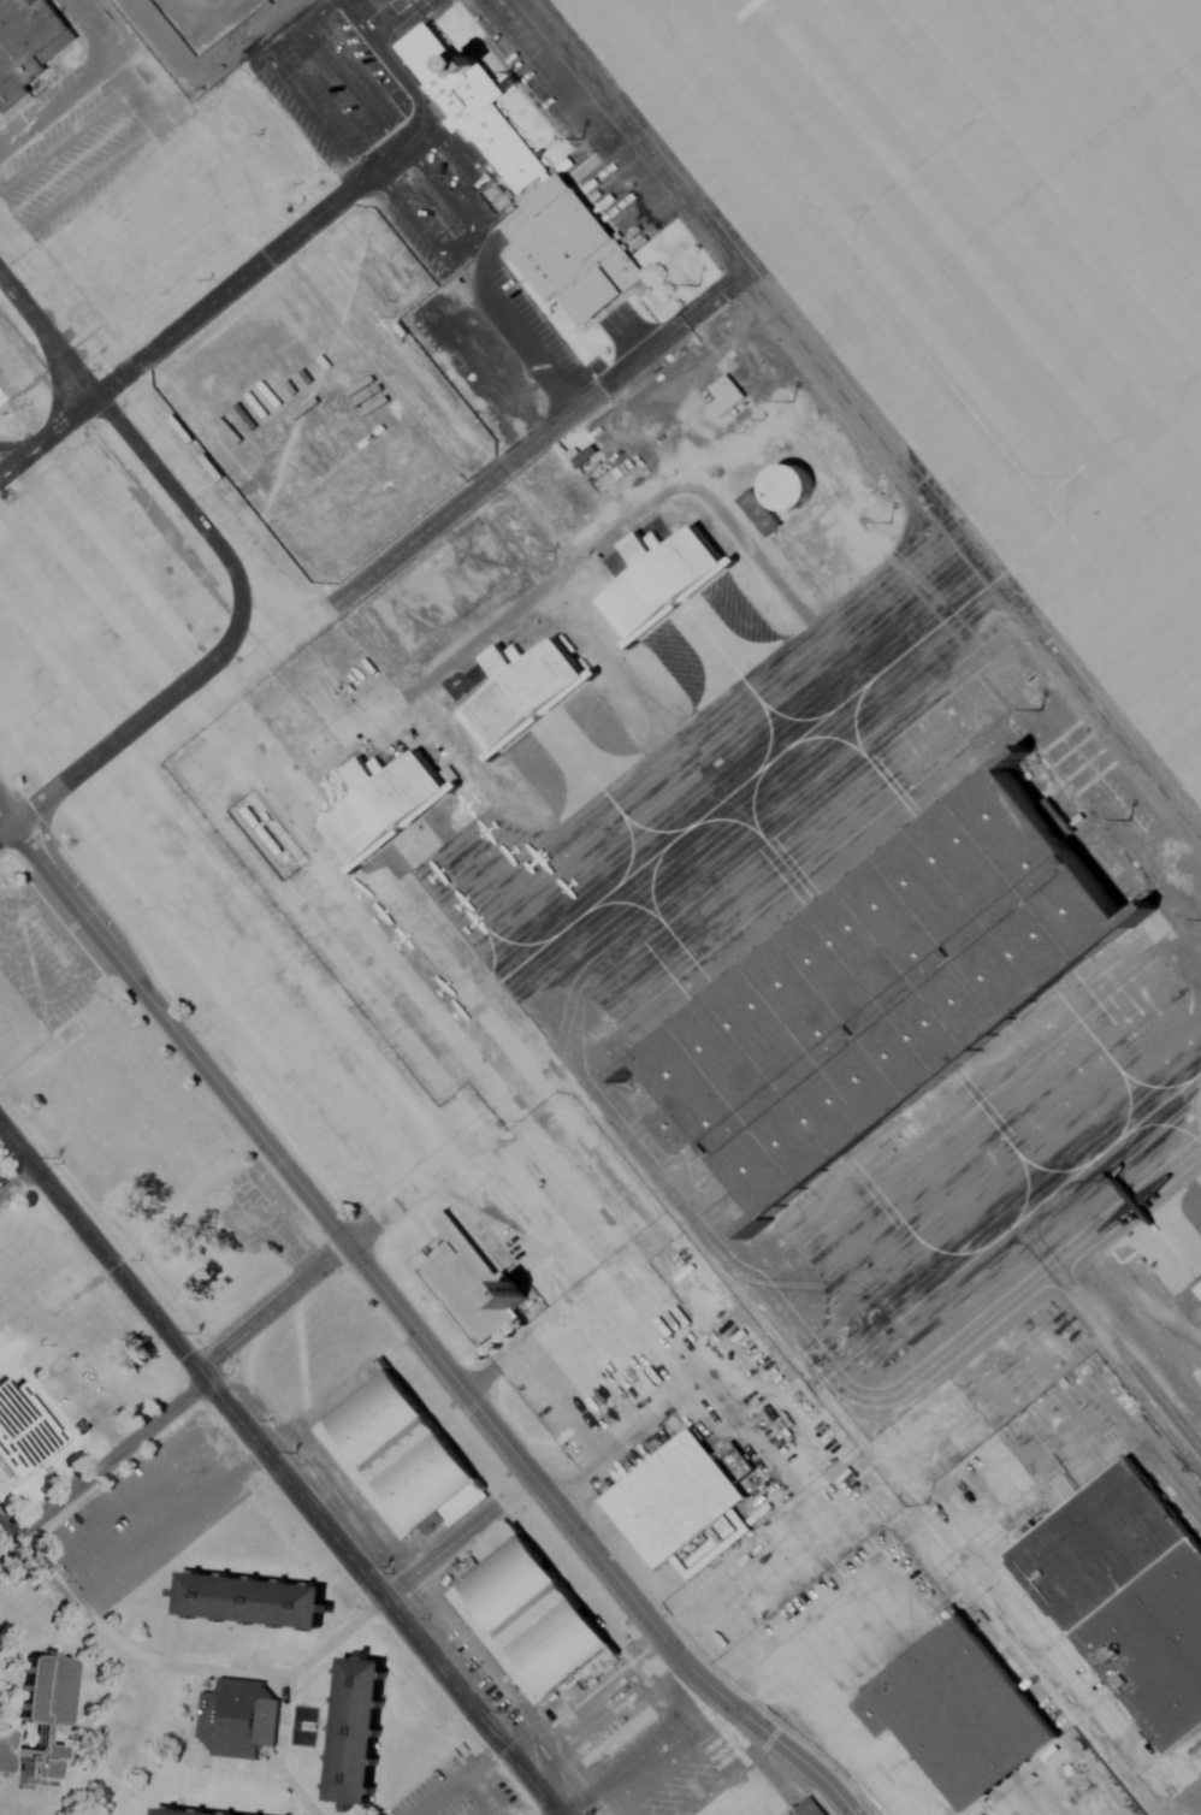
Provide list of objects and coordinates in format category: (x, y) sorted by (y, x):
building: (26, 45)
road: (76, 72)
building: (473, 108)
building: (574, 256)
airport apron: (982, 271)
road: (712, 297)
road: (199, 313)
building: (724, 396)
building: (1, 400)
road: (860, 421)
road: (505, 465)
building: (789, 487)
road: (227, 564)
building: (664, 578)
airport: (769, 626)
building: (527, 694)
building: (386, 804)
road: (4, 829)
building: (893, 995)
road: (16, 1180)
road: (528, 1220)
building: (469, 1288)
road: (272, 1309)
road: (413, 1328)
road: (91, 1412)
road: (586, 1426)
building: (24, 1431)
building: (395, 1456)
road: (102, 1465)
road: (277, 1471)
railway: (1171, 1482)
railway: (1167, 1492)
building: (674, 1500)
road: (164, 1527)
road: (456, 1539)
road: (37, 1568)
building: (1128, 1596)
building: (254, 1601)
building: (527, 1620)
road: (815, 1651)
road: (1078, 1687)
building: (46, 1689)
road: (194, 1698)
road: (591, 1705)
building: (960, 1714)
building: (236, 1718)
building: (357, 1731)
building: (620, 1736)
building: (5, 1750)
building: (40, 1761)
road: (678, 1764)
road: (454, 1778)
road: (484, 1791)
building: (805, 1809)
building: (181, 1811)

